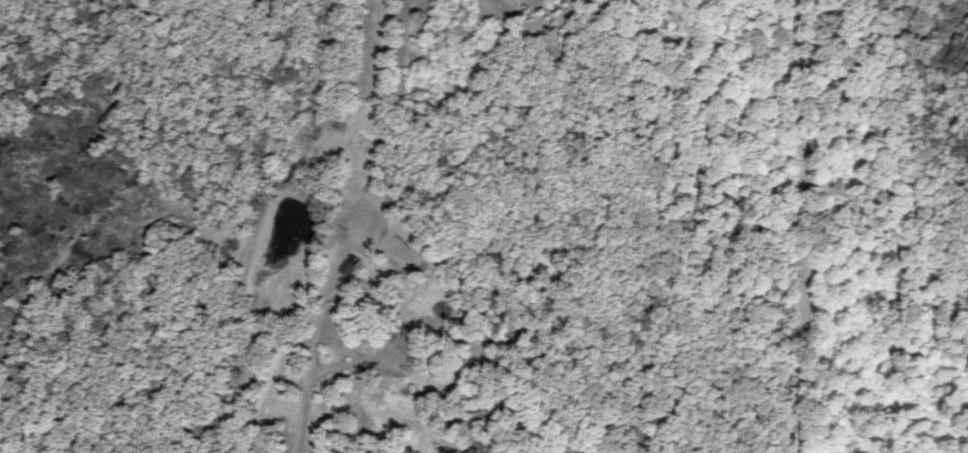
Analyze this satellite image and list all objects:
road: (804, 226)
building: (349, 270)
building: (413, 342)

